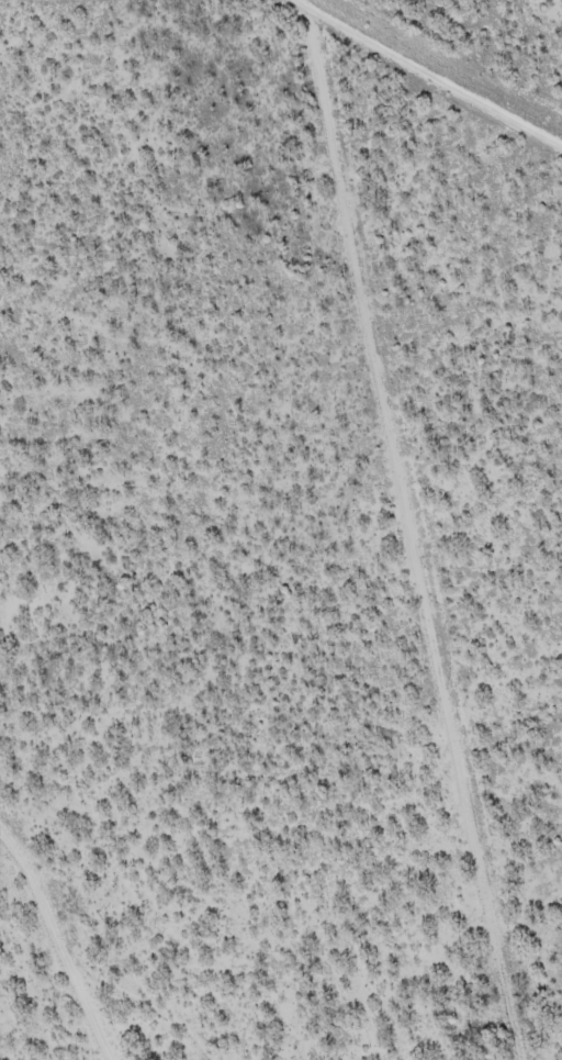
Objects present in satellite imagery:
road: (424, 75)

